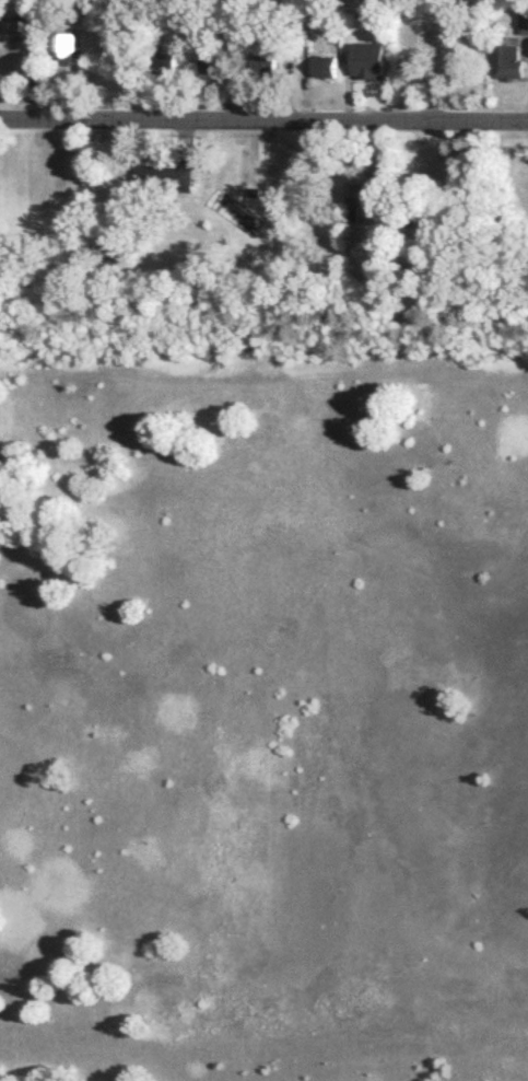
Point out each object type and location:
building: (25, 20)
building: (523, 20)
building: (64, 42)
building: (166, 58)
building: (367, 58)
building: (213, 61)
building: (507, 61)
building: (325, 65)
building: (263, 66)
road: (263, 123)
building: (374, 175)
building: (163, 176)

